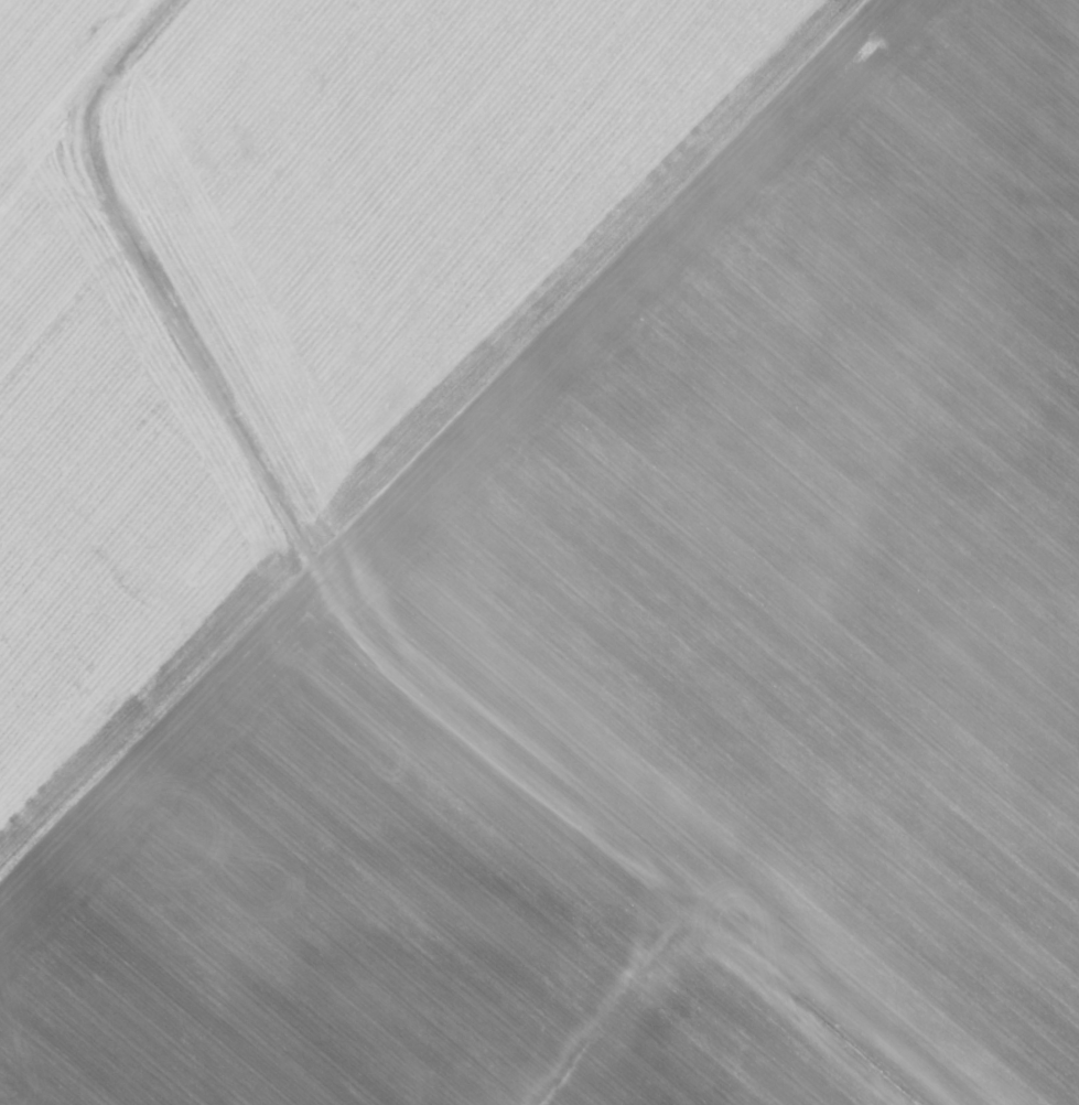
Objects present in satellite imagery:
road: (935, 120)
road: (104, 121)

